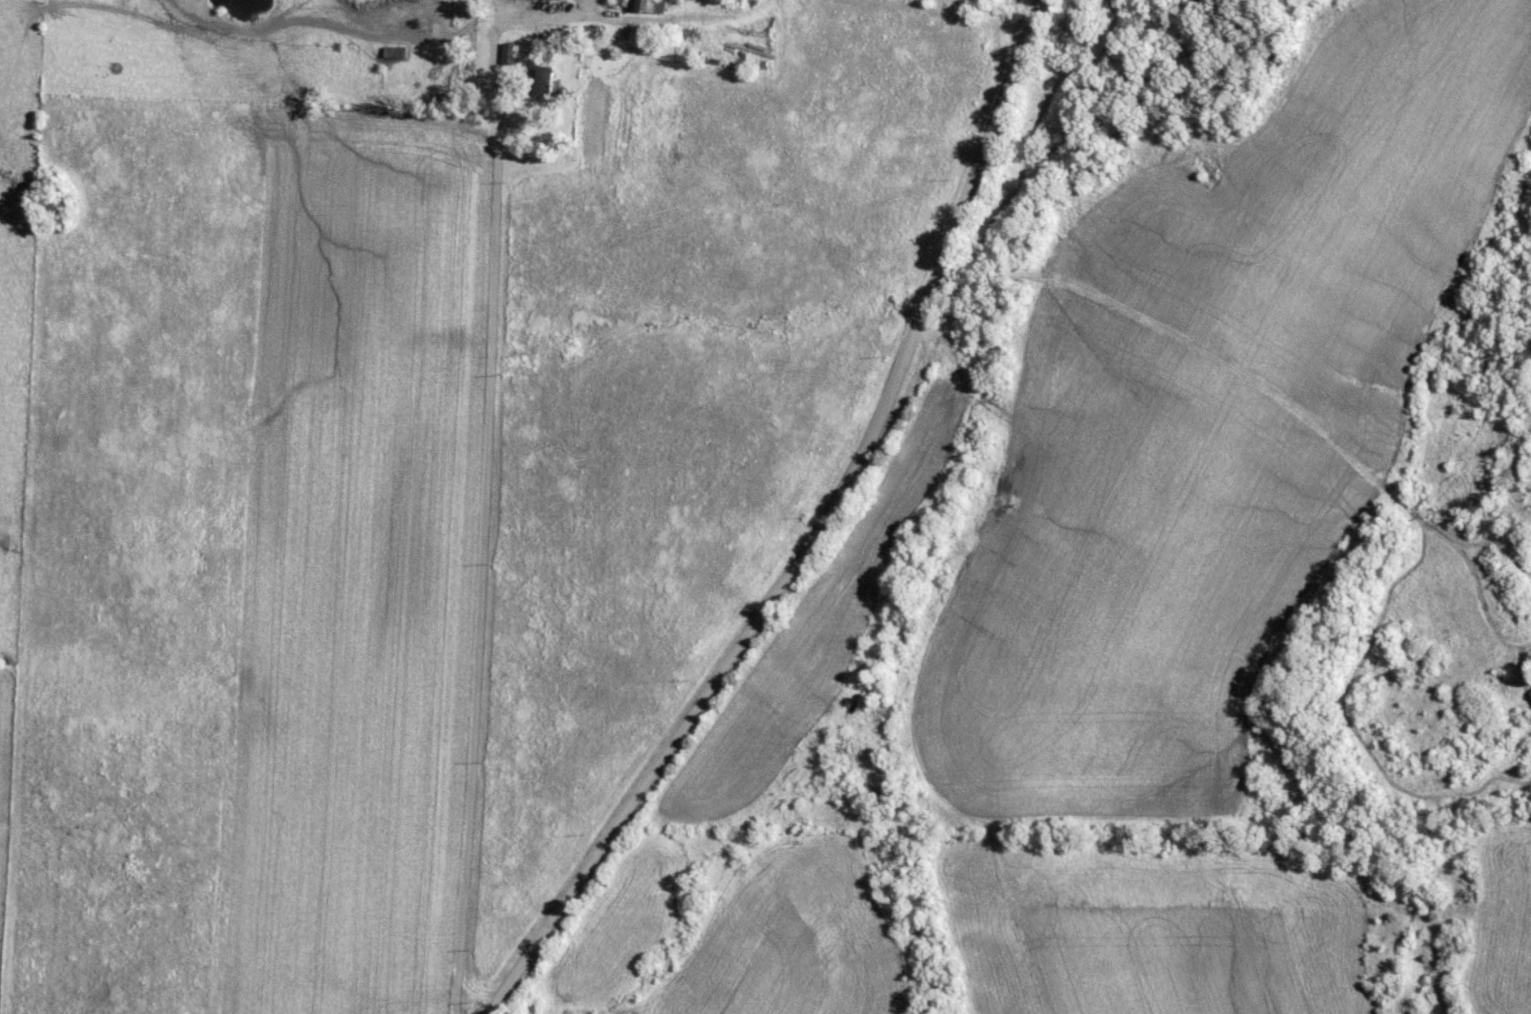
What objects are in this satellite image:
building: (513, 57)
building: (547, 77)
road: (483, 447)
road: (815, 533)
road: (472, 992)

